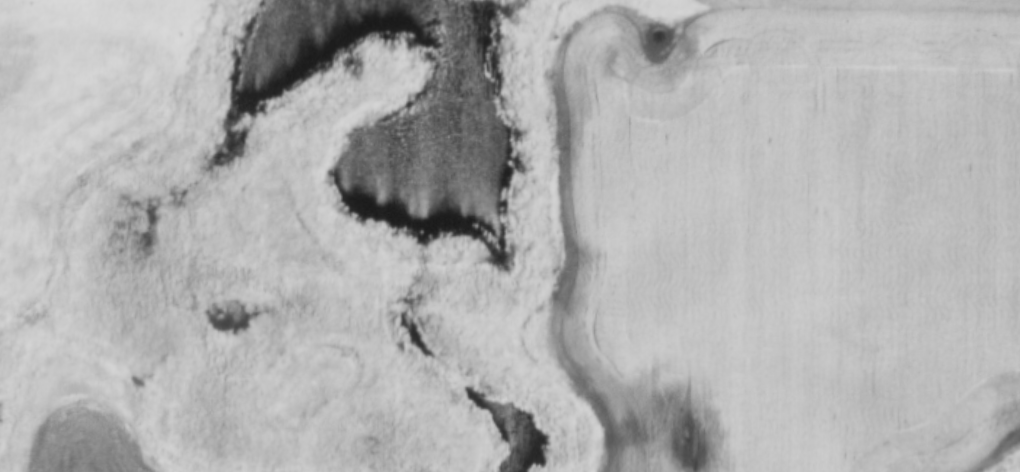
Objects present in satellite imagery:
road: (796, 8)

